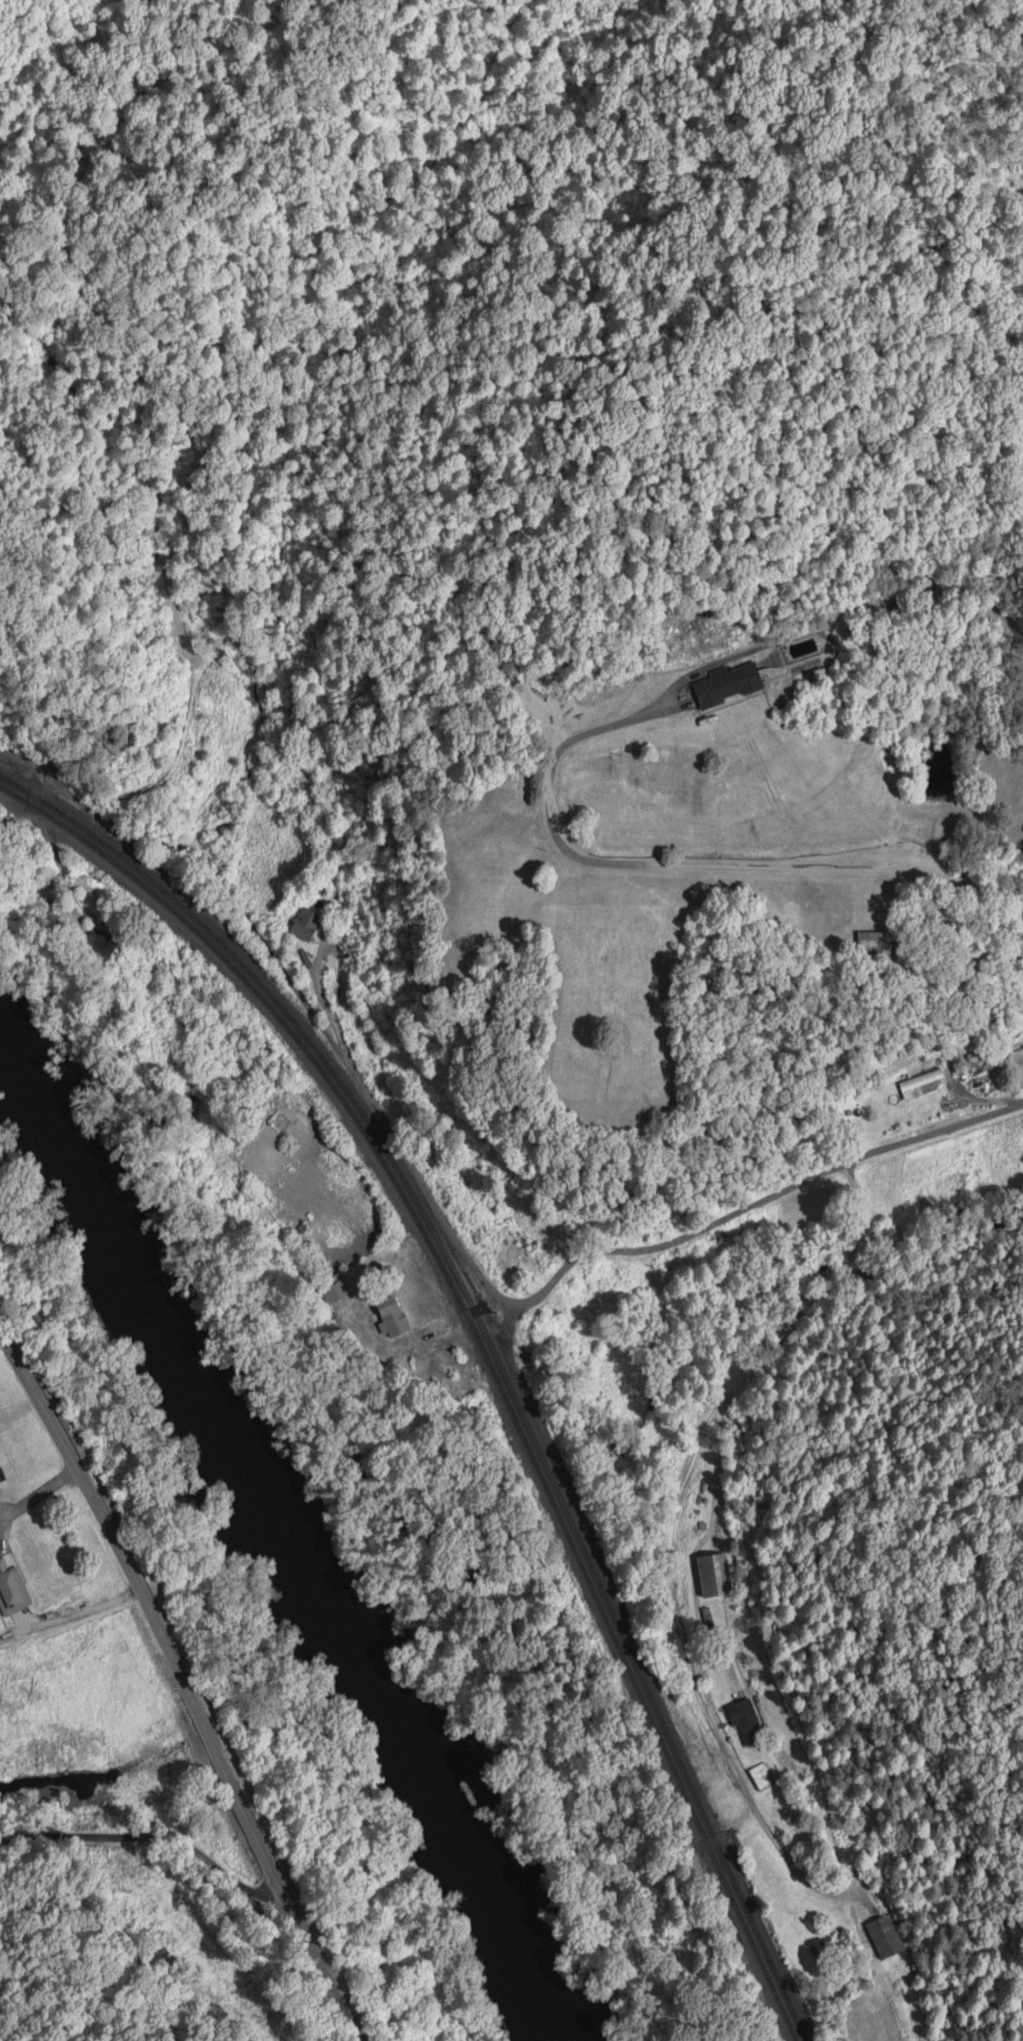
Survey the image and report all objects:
building: (727, 684)
road: (910, 908)
building: (304, 925)
building: (97, 944)
building: (868, 944)
building: (916, 1085)
river: (63, 1111)
road: (464, 1177)
building: (507, 1258)
building: (391, 1316)
railway: (484, 1353)
building: (713, 1576)
building: (6, 1586)
road: (666, 1620)
river: (352, 1624)
road: (185, 1684)
building: (745, 1721)
building: (762, 1777)
building: (783, 1902)
road: (148, 1911)
building: (885, 1936)

